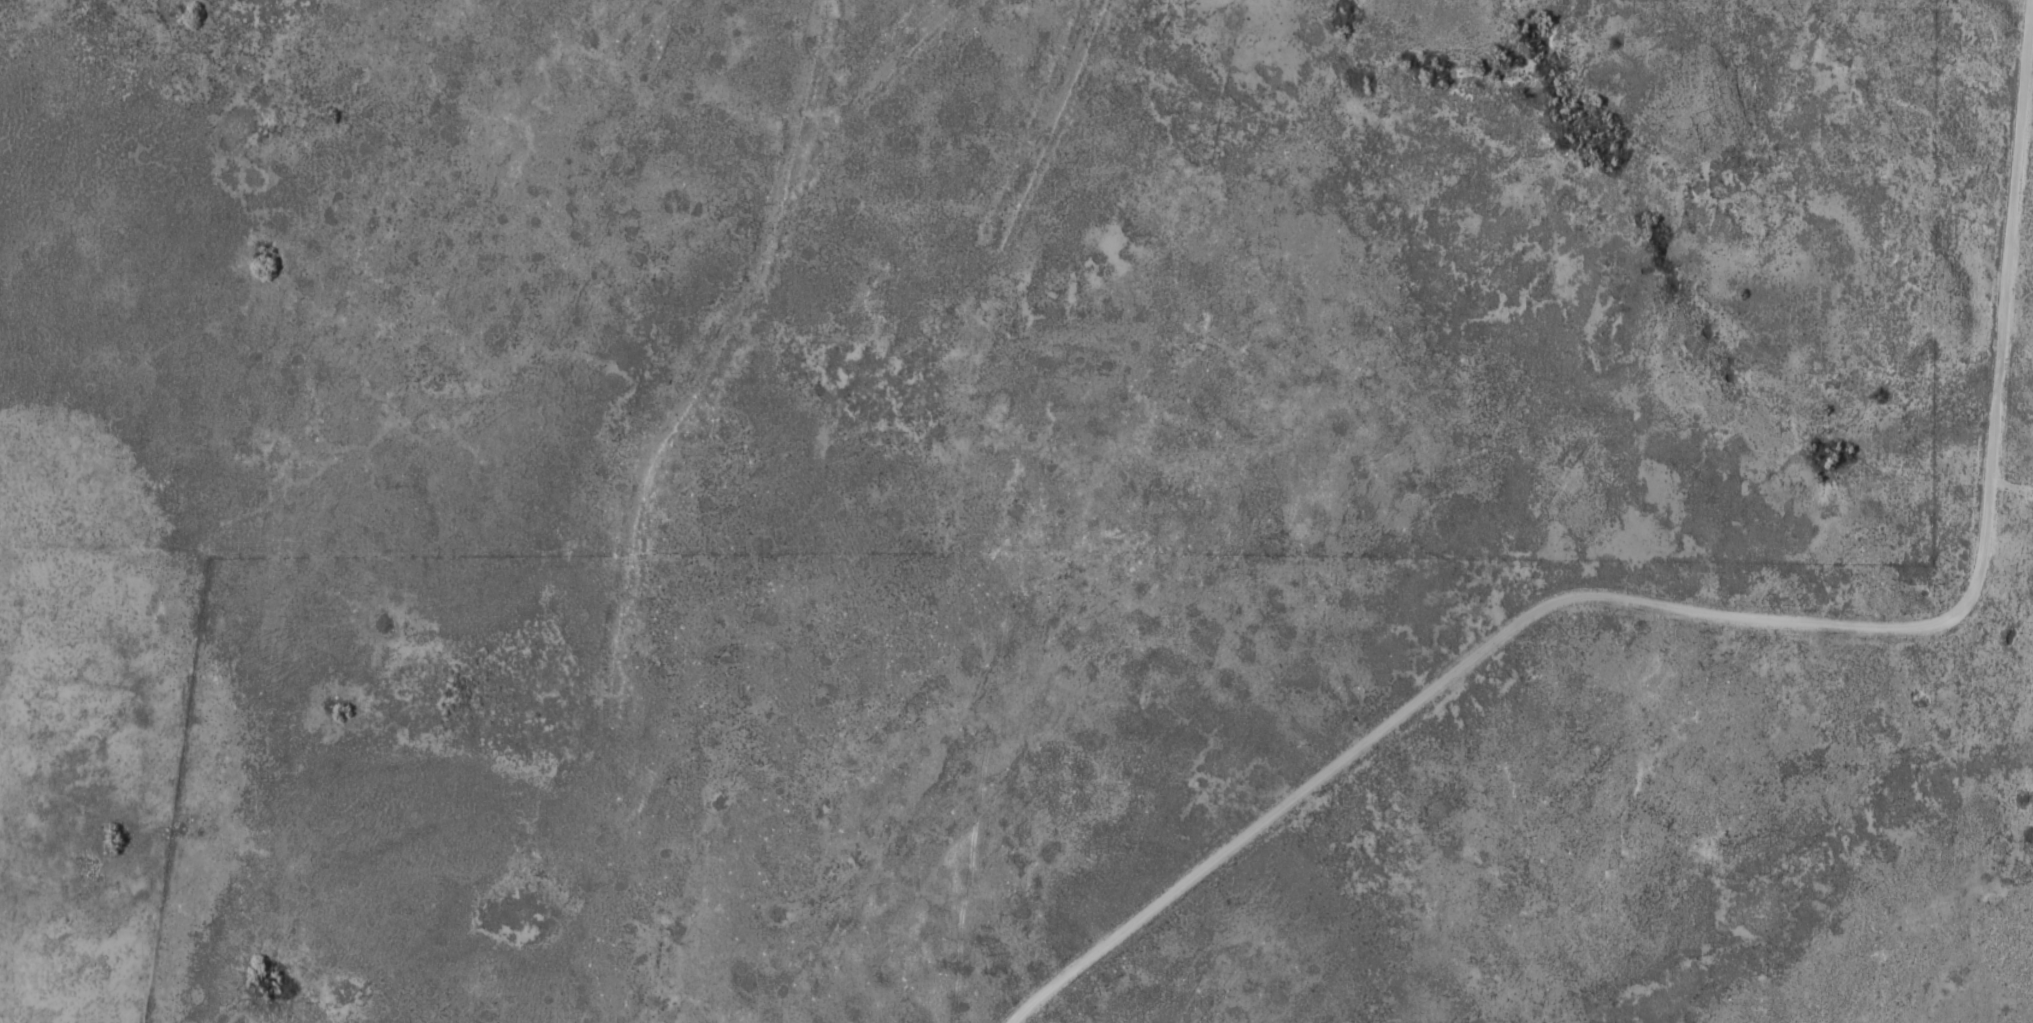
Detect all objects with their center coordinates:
road: (1695, 596)

